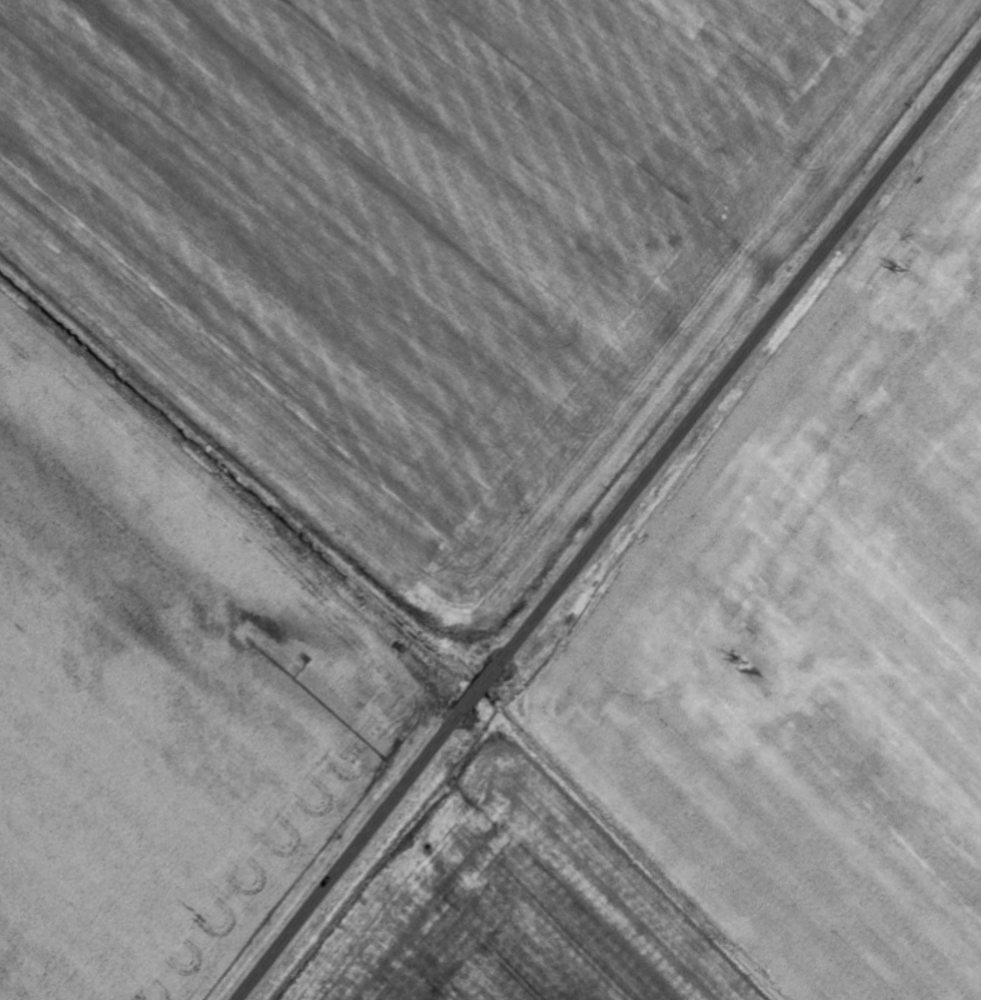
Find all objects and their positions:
road: (608, 524)

